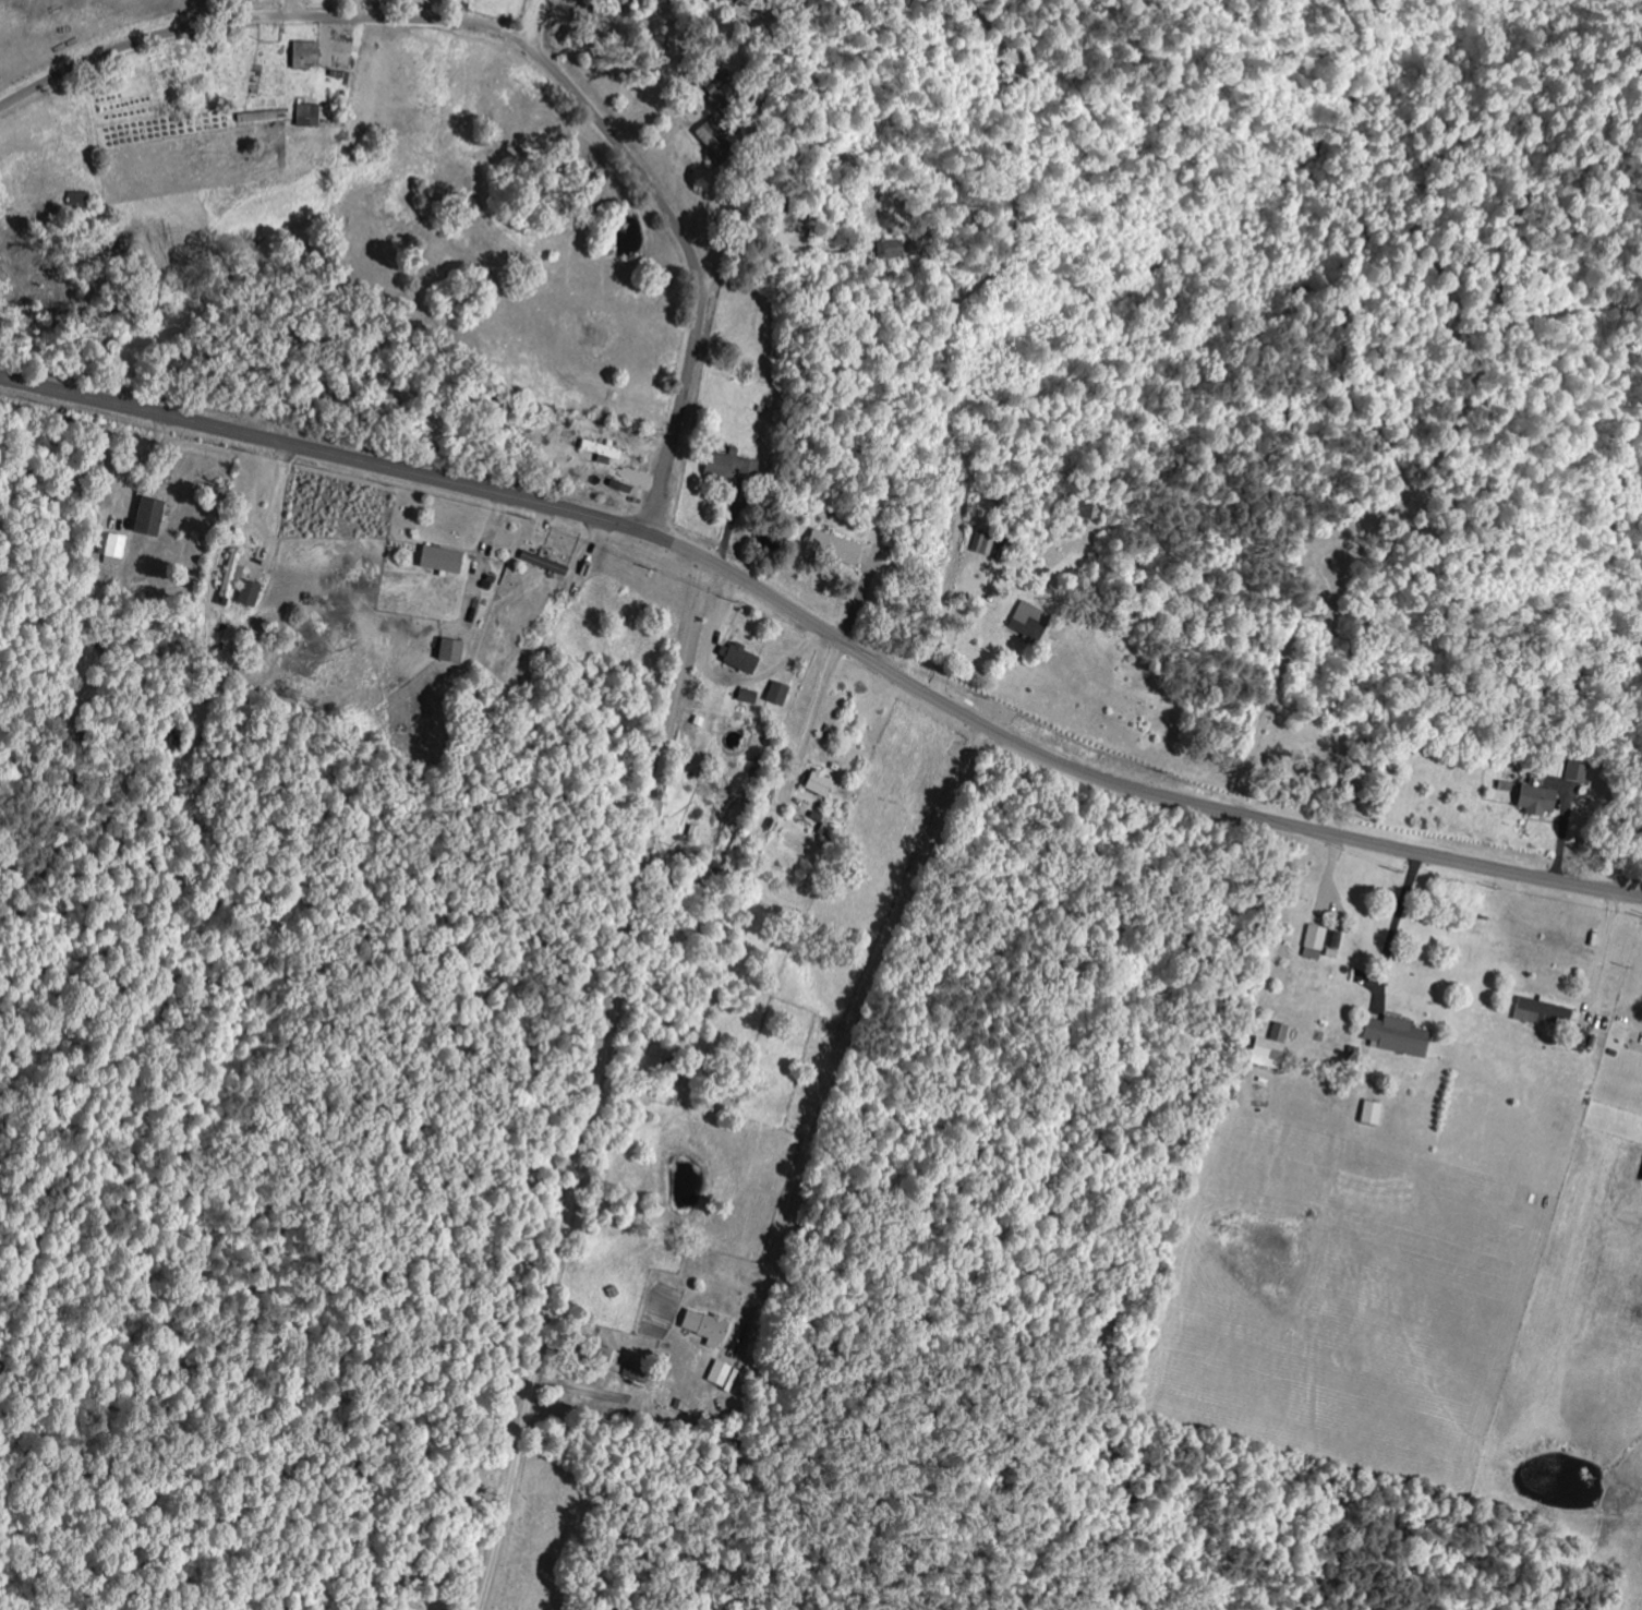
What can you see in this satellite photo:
road: (361, 10)
road: (203, 13)
road: (534, 24)
road: (526, 48)
building: (309, 53)
building: (343, 59)
building: (727, 94)
building: (310, 115)
building: (716, 143)
building: (80, 199)
building: (599, 335)
building: (602, 449)
road: (145, 466)
building: (737, 467)
road: (398, 470)
road: (279, 509)
building: (150, 516)
building: (985, 542)
building: (837, 548)
building: (114, 549)
building: (443, 560)
building: (231, 576)
building: (250, 593)
building: (1031, 621)
road: (952, 628)
building: (452, 650)
building: (740, 658)
road: (720, 680)
building: (778, 693)
building: (748, 696)
road: (818, 705)
building: (823, 783)
road: (1193, 800)
building: (1543, 801)
road: (1399, 924)
building: (1316, 941)
road: (1601, 956)
building: (1546, 1012)
road: (853, 1021)
road: (1640, 1035)
building: (1401, 1036)
building: (1271, 1046)
road: (593, 1085)
building: (1373, 1113)
building: (1641, 1175)
building: (708, 1325)
building: (637, 1371)
building: (722, 1374)

